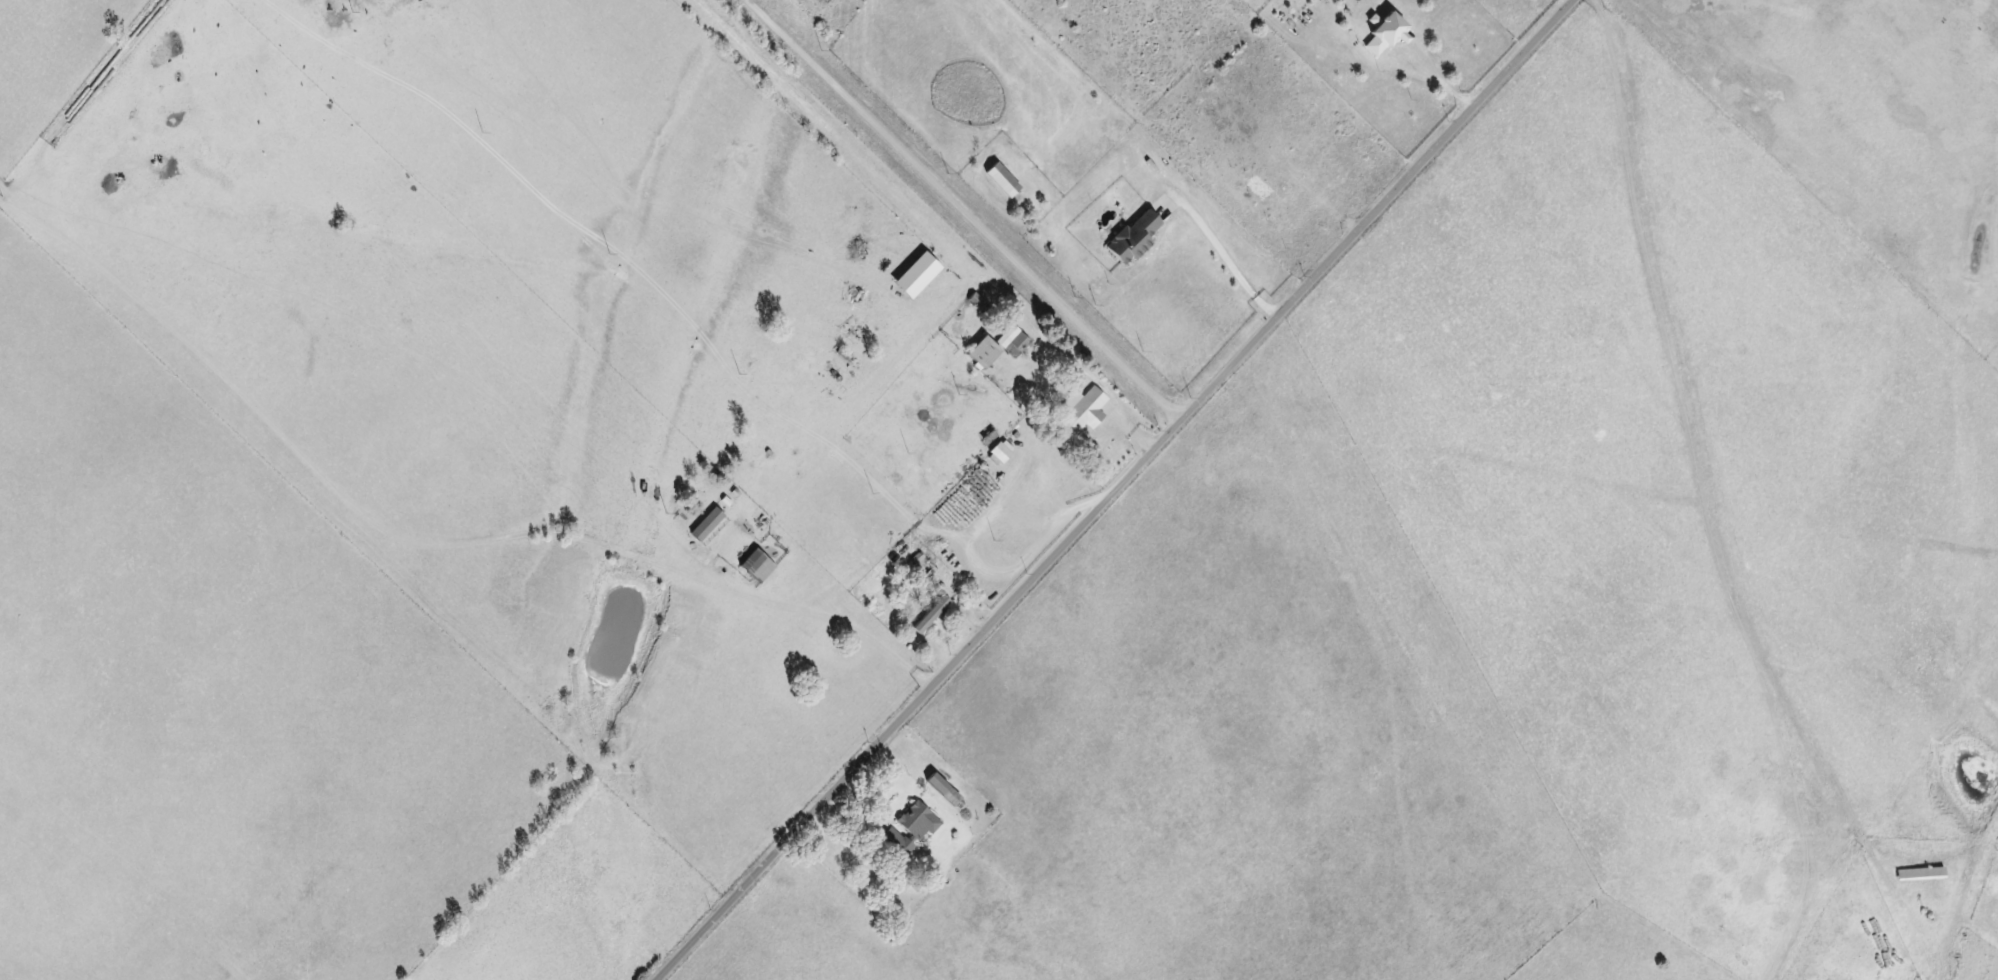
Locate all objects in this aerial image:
building: (1386, 35)
road: (1439, 86)
building: (1004, 181)
road: (960, 211)
building: (1134, 239)
road: (1225, 260)
building: (918, 276)
building: (1014, 342)
building: (985, 353)
building: (1084, 412)
building: (1002, 452)
road: (1114, 491)
building: (708, 526)
building: (759, 567)
building: (933, 615)
building: (939, 785)
building: (913, 829)

